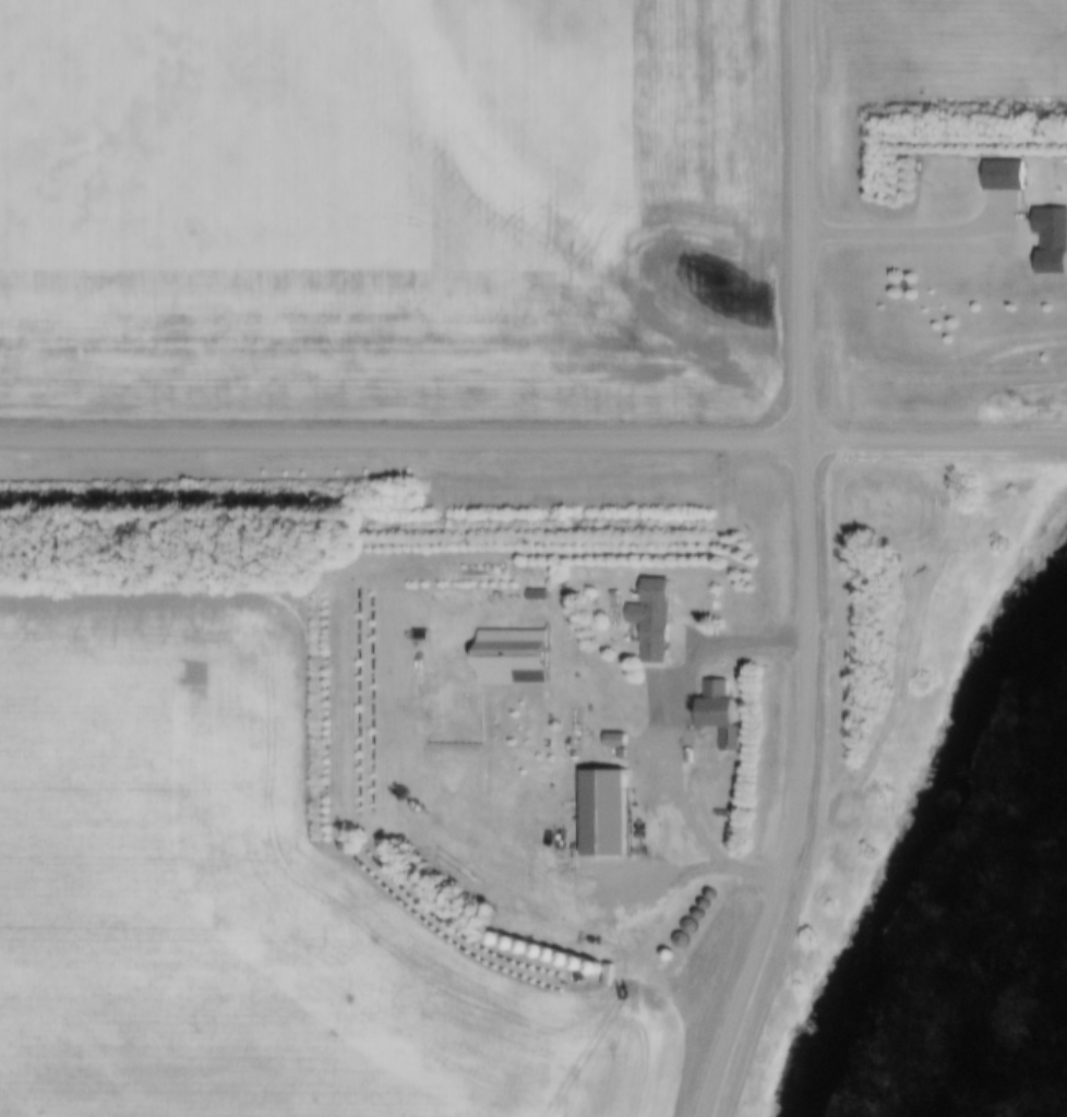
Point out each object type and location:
building: (1005, 176)
road: (894, 228)
building: (1053, 240)
road: (532, 437)
road: (802, 565)
building: (655, 622)
road: (709, 644)
building: (523, 651)
building: (715, 707)
building: (604, 813)
road: (694, 825)

